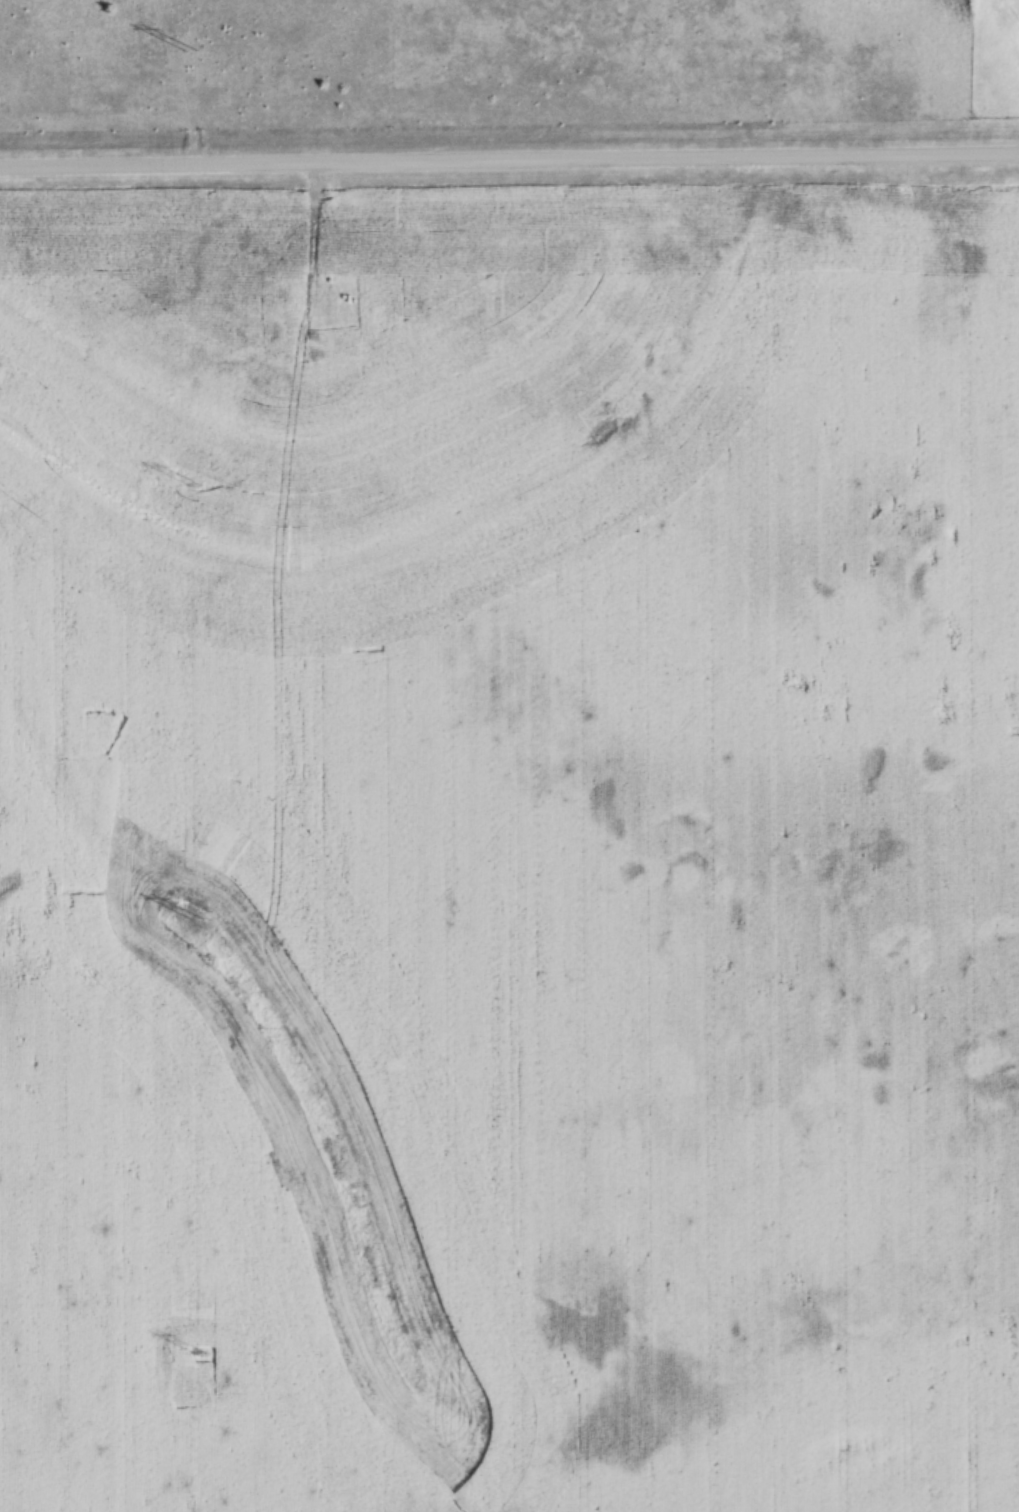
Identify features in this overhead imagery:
power tower: (190, 50)
road: (509, 162)
power tower: (195, 485)
power tower: (198, 918)
power tower: (198, 1347)

